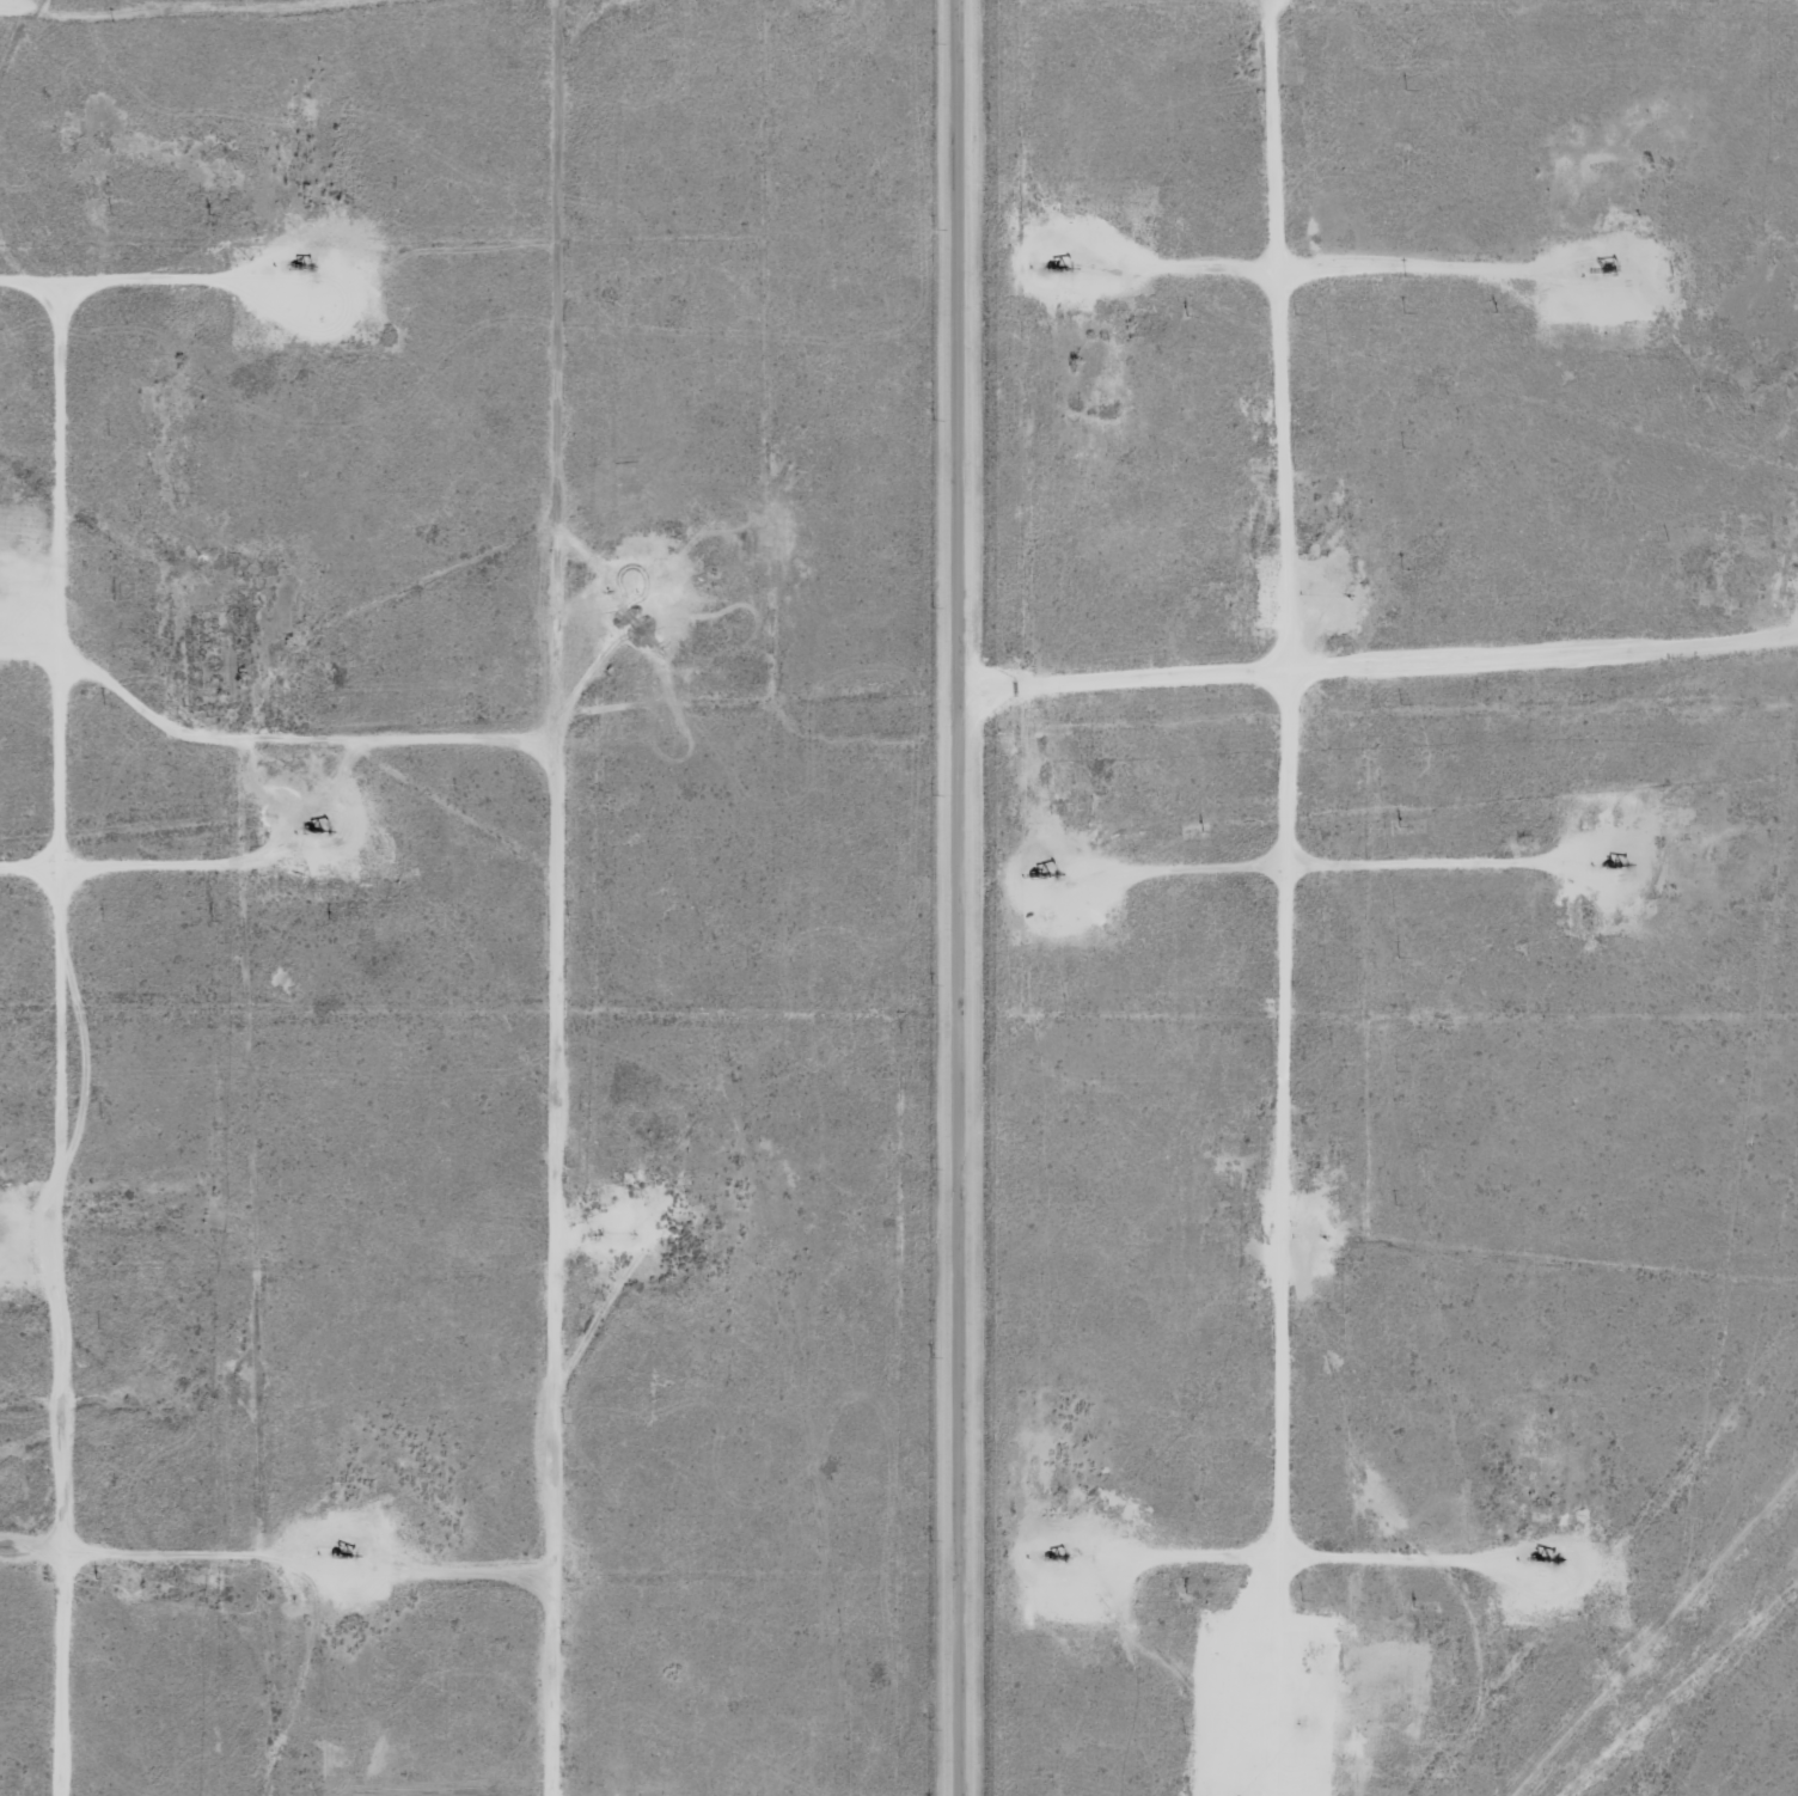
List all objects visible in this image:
road: (591, 66)
road: (1381, 653)
road: (274, 704)
road: (1273, 893)
road: (964, 898)
road: (554, 930)
road: (74, 1236)

